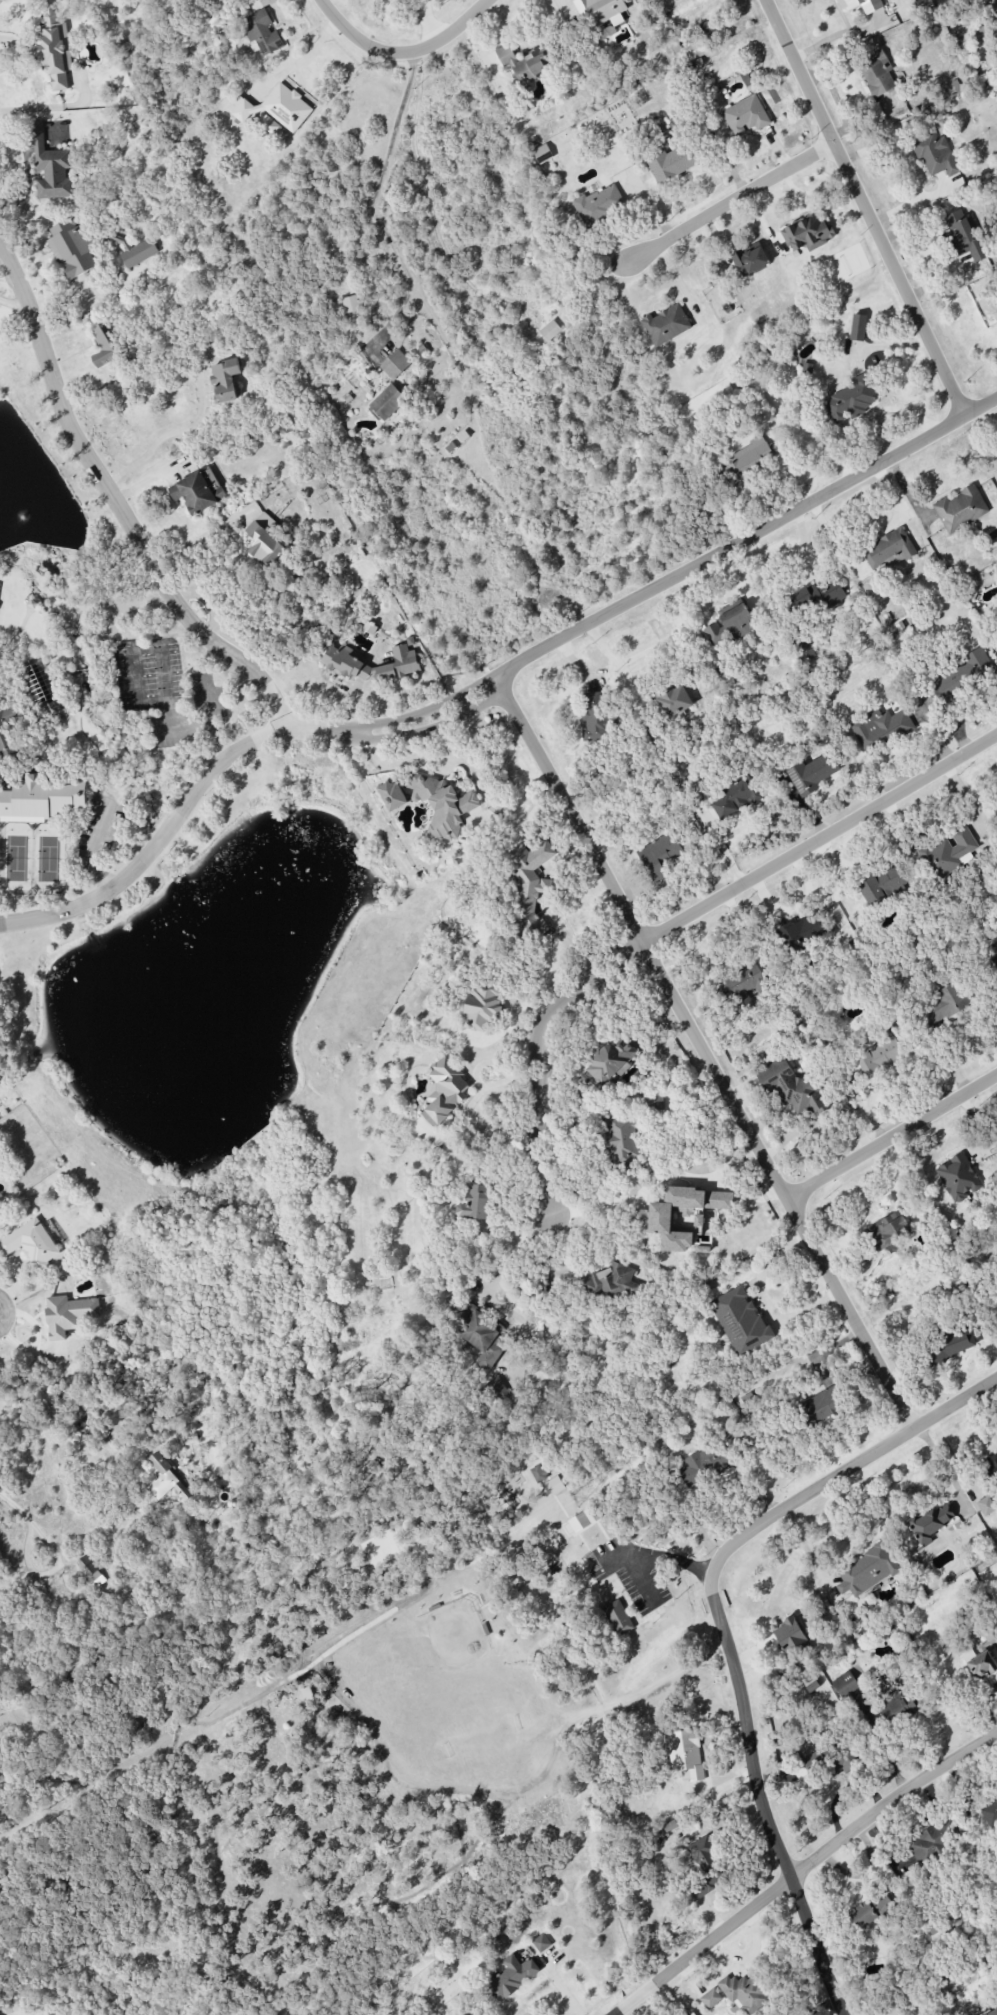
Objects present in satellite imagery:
building: (861, 5)
building: (601, 11)
building: (708, 26)
building: (262, 32)
building: (54, 50)
road: (404, 56)
building: (527, 62)
road: (296, 64)
building: (877, 73)
building: (275, 107)
building: (745, 116)
building: (542, 154)
building: (936, 155)
building: (671, 162)
building: (50, 166)
road: (908, 169)
road: (27, 170)
building: (598, 203)
road: (370, 207)
road: (723, 210)
road: (865, 210)
building: (807, 234)
building: (964, 235)
building: (72, 248)
building: (137, 252)
building: (751, 258)
road: (38, 265)
road: (98, 296)
road: (13, 303)
building: (350, 304)
building: (666, 325)
building: (858, 327)
building: (550, 330)
building: (106, 346)
building: (395, 364)
building: (225, 380)
building: (852, 400)
building: (386, 402)
road: (867, 415)
road: (171, 435)
building: (746, 460)
building: (199, 491)
road: (116, 506)
building: (961, 509)
building: (265, 540)
road: (194, 544)
road: (745, 544)
building: (888, 550)
building: (818, 596)
building: (729, 625)
building: (347, 662)
building: (399, 664)
road: (617, 664)
building: (963, 674)
building: (674, 702)
building: (594, 716)
building: (880, 728)
road: (396, 731)
road: (429, 758)
building: (811, 774)
building: (392, 795)
building: (735, 797)
building: (42, 798)
building: (442, 804)
building: (995, 809)
road: (819, 844)
road: (155, 849)
road: (90, 852)
building: (946, 852)
building: (659, 855)
building: (884, 884)
building: (528, 888)
building: (800, 932)
building: (741, 985)
building: (944, 1004)
building: (481, 1006)
road: (511, 1019)
building: (879, 1056)
road: (707, 1058)
building: (610, 1061)
road: (538, 1067)
building: (792, 1087)
building: (445, 1091)
road: (471, 1097)
building: (622, 1141)
road: (892, 1142)
building: (957, 1178)
road: (637, 1196)
building: (476, 1203)
building: (653, 1220)
building: (699, 1220)
building: (887, 1233)
building: (31, 1244)
power tower: (949, 1274)
building: (609, 1283)
building: (68, 1314)
building: (740, 1321)
building: (479, 1332)
road: (0, 1334)
building: (949, 1345)
building: (821, 1406)
road: (954, 1409)
road: (954, 1461)
building: (993, 1464)
building: (704, 1466)
road: (944, 1468)
building: (538, 1473)
building: (166, 1480)
building: (554, 1486)
power tower: (577, 1497)
building: (986, 1506)
building: (585, 1519)
building: (932, 1521)
road: (31, 1528)
road: (651, 1549)
road: (806, 1553)
building: (90, 1571)
building: (867, 1571)
building: (617, 1618)
building: (789, 1635)
building: (980, 1664)
road: (737, 1680)
building: (847, 1686)
building: (898, 1701)
building: (685, 1754)
power tower: (52, 1812)
building: (990, 1812)
building: (932, 1839)
building: (705, 1867)
road: (805, 1872)
building: (870, 1909)
building: (541, 1943)
building: (512, 1977)
building: (744, 1993)
building: (711, 1999)
building: (992, 2012)

